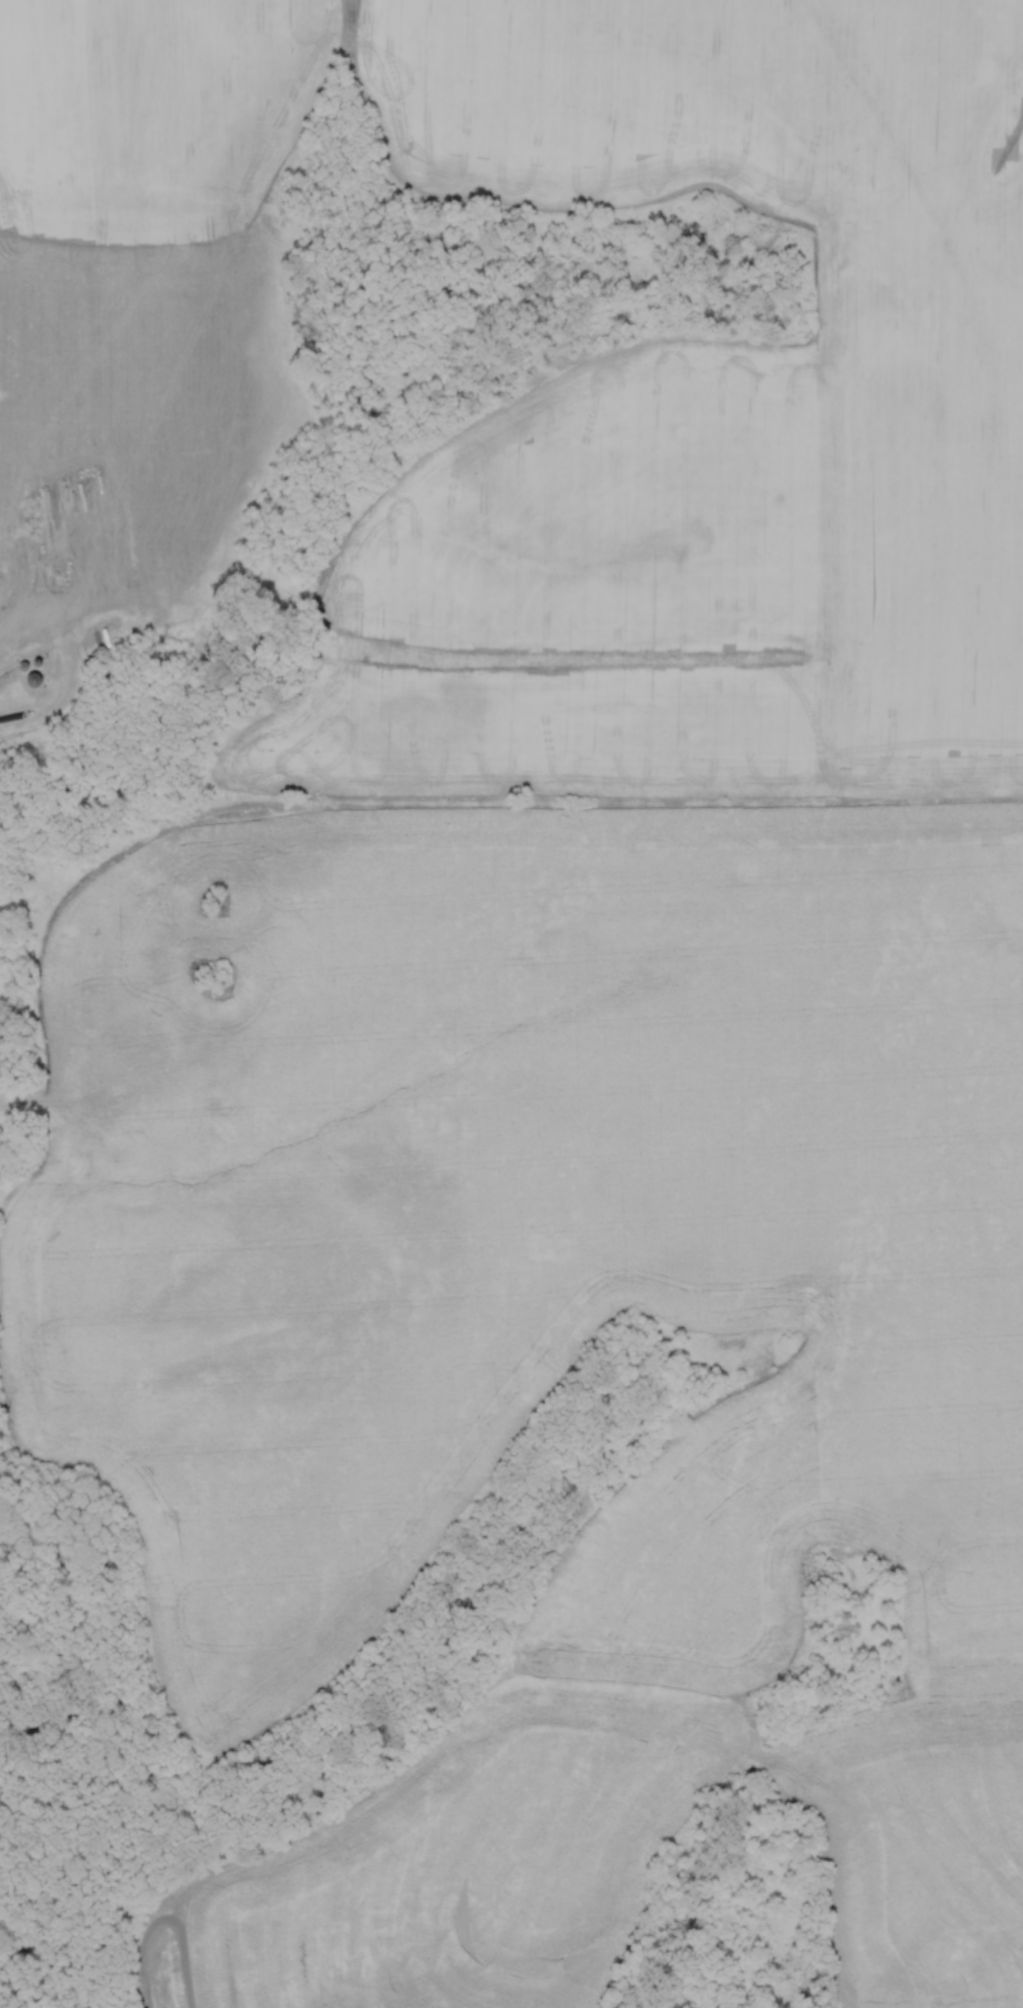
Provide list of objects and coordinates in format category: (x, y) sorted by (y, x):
building: (29, 679)

